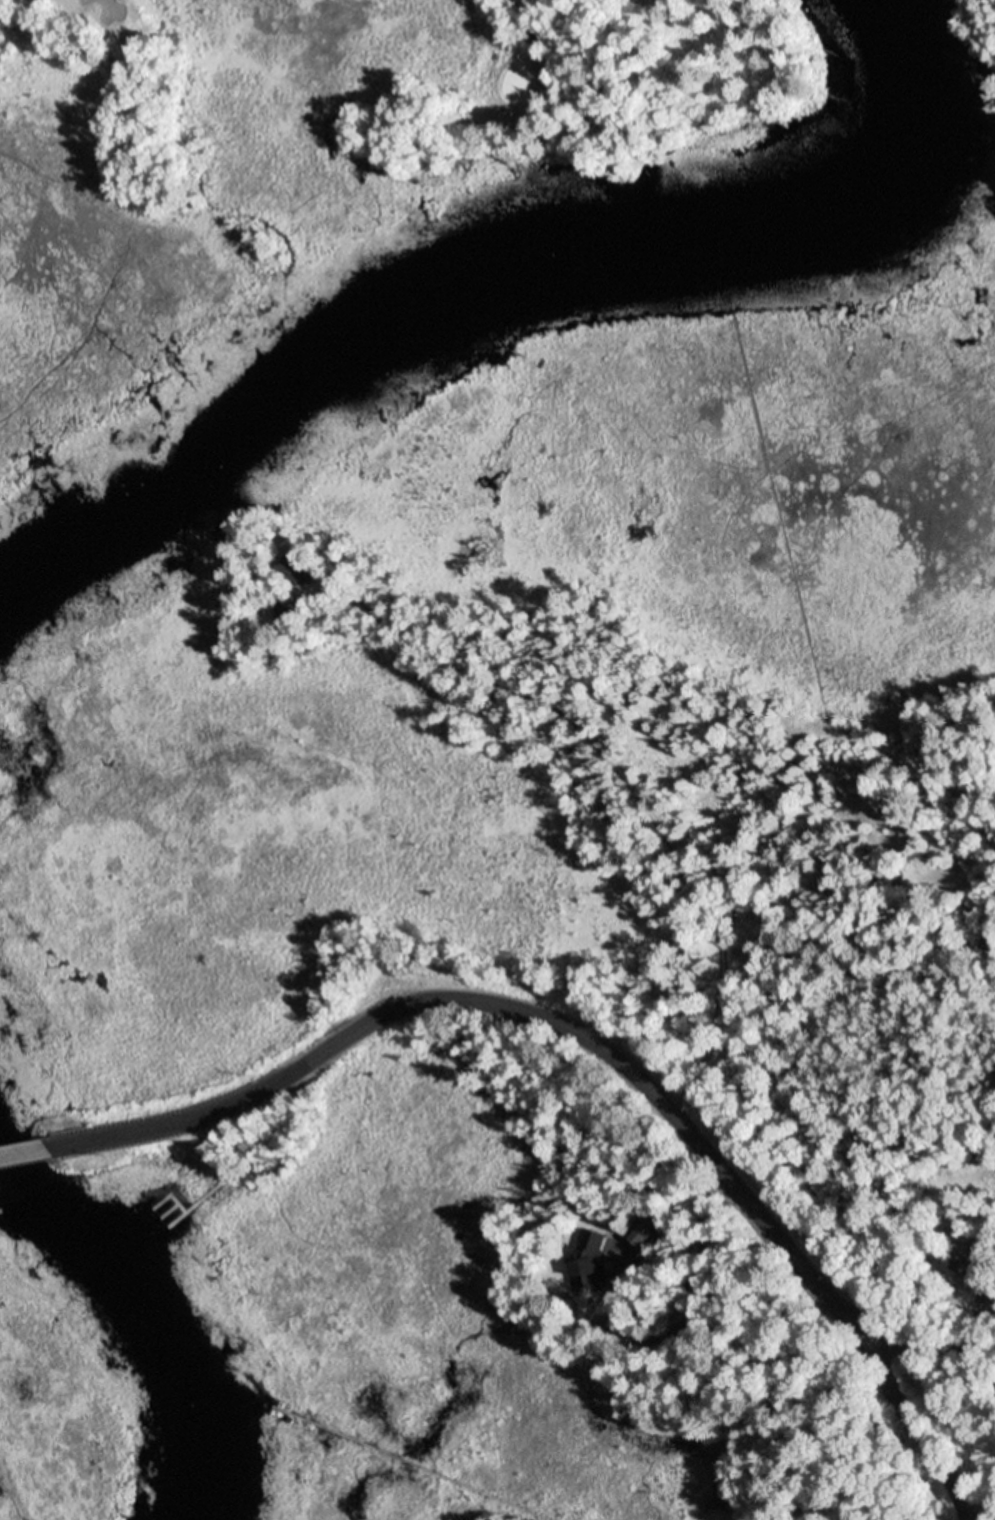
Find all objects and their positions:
park: (329, 135)
river: (521, 270)
park: (681, 323)
building: (298, 571)
building: (286, 613)
road: (652, 776)
road: (500, 1003)
road: (24, 1151)
building: (645, 1231)
building: (591, 1263)
building: (973, 1266)
river: (147, 1327)
road: (923, 1339)
road: (917, 1421)

